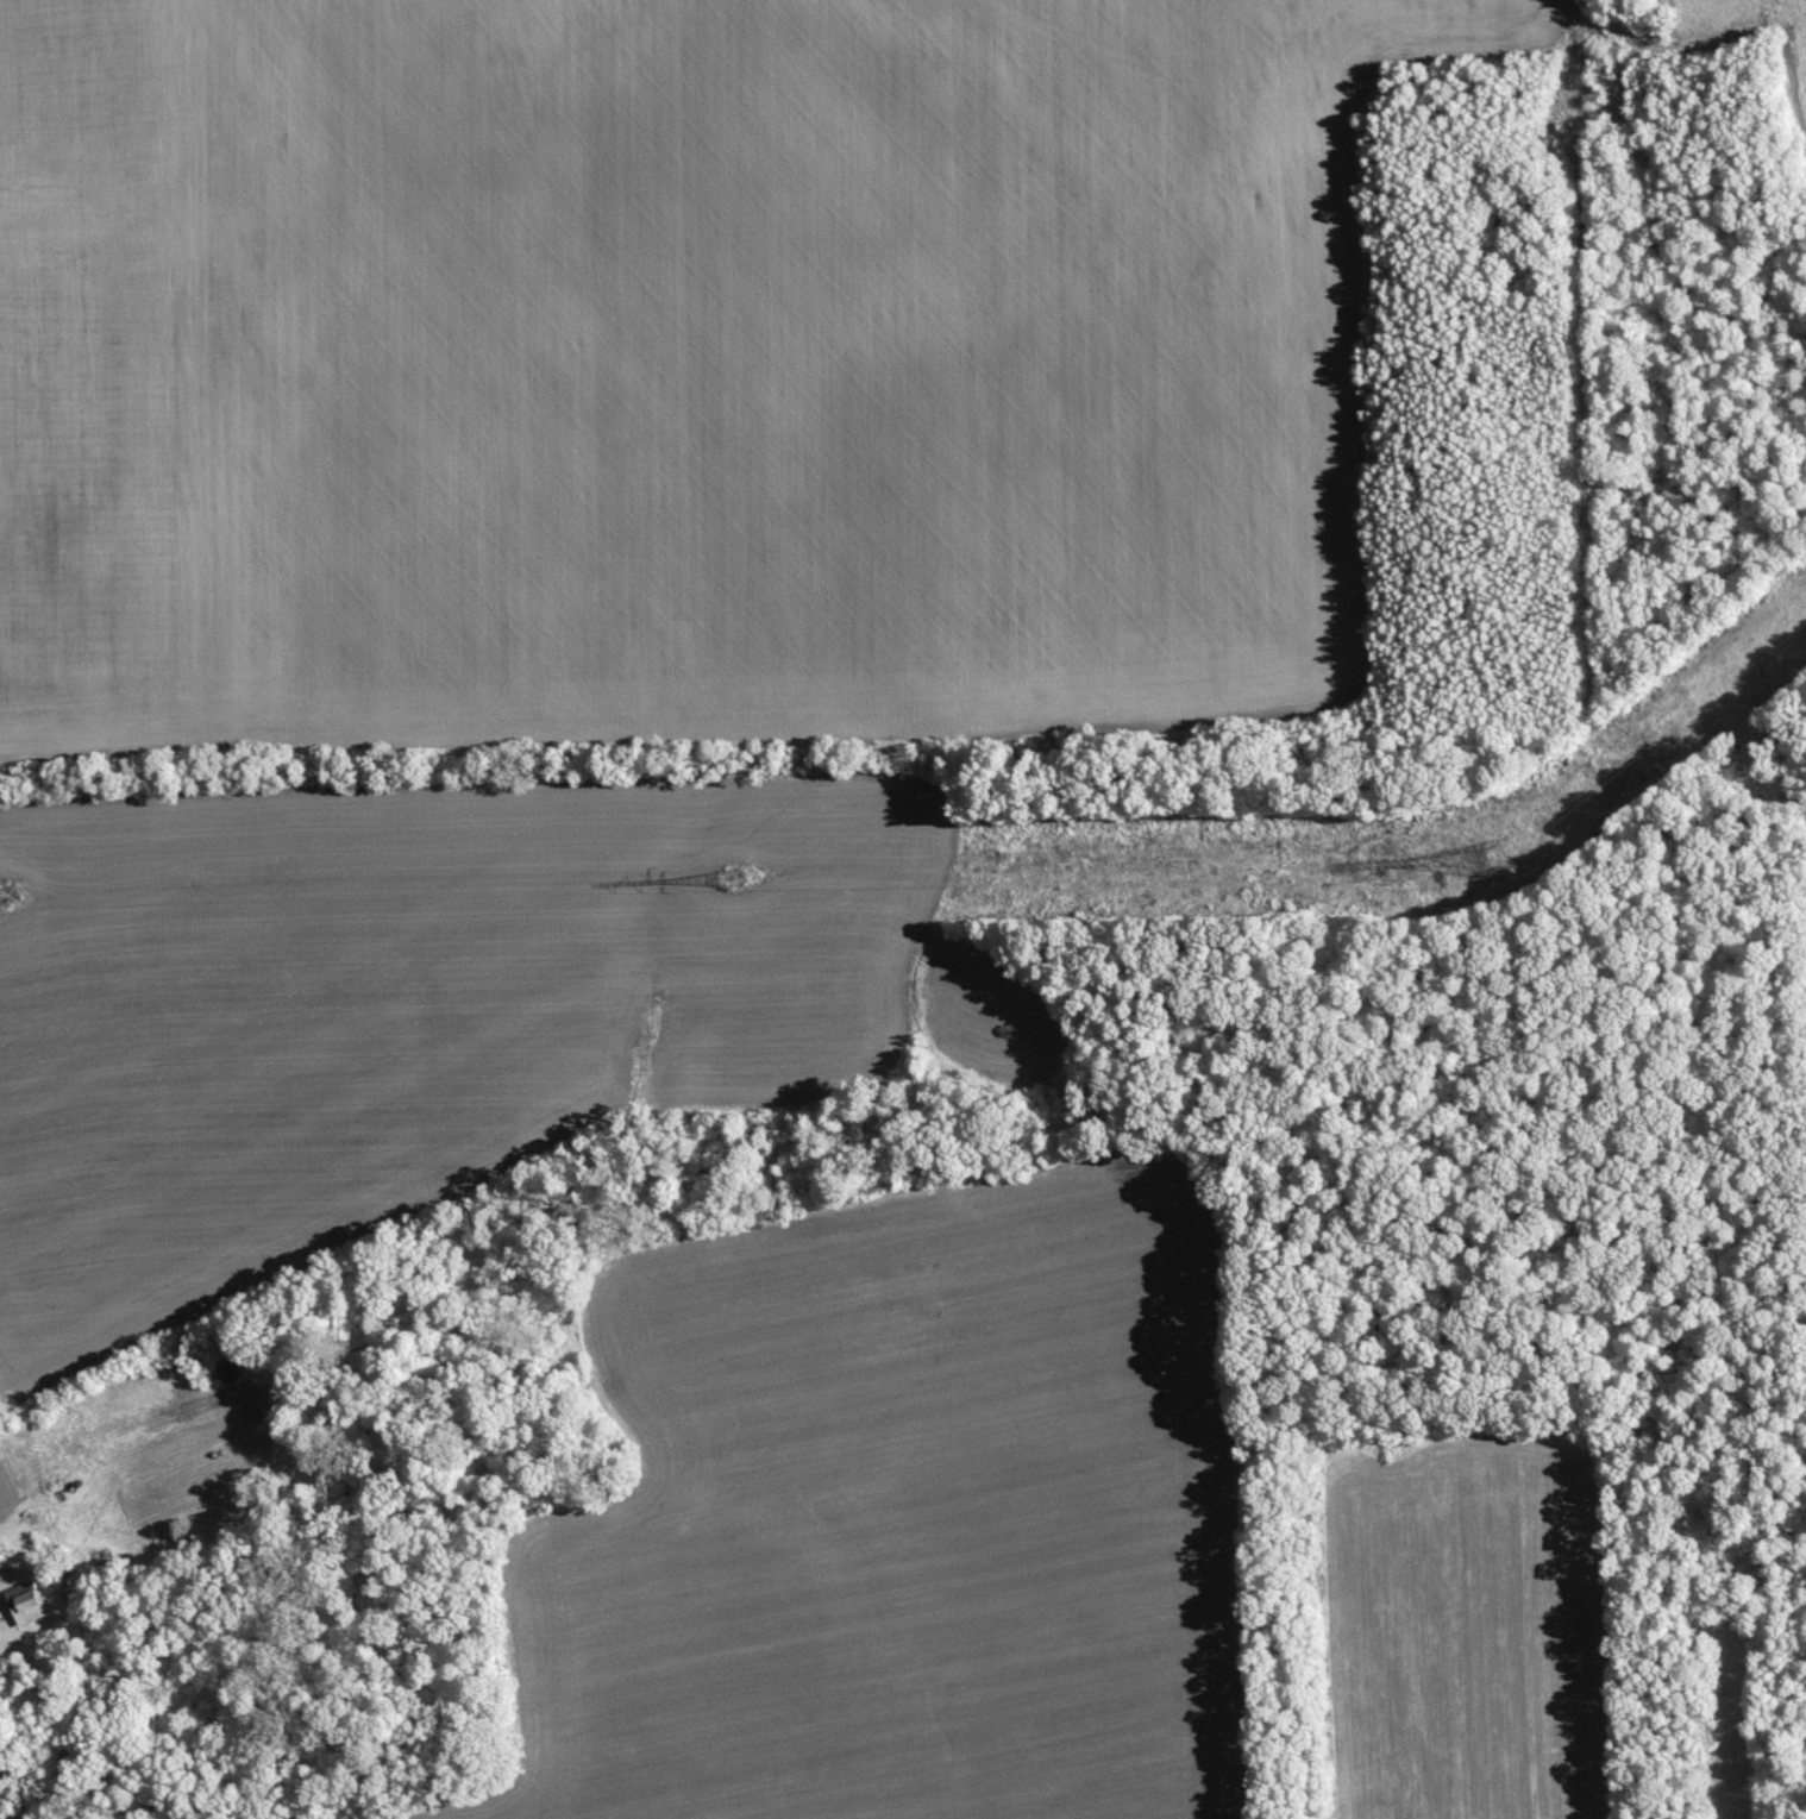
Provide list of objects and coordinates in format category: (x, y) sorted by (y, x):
power tower: (1497, 860)
power tower: (732, 879)
building: (24, 1601)

